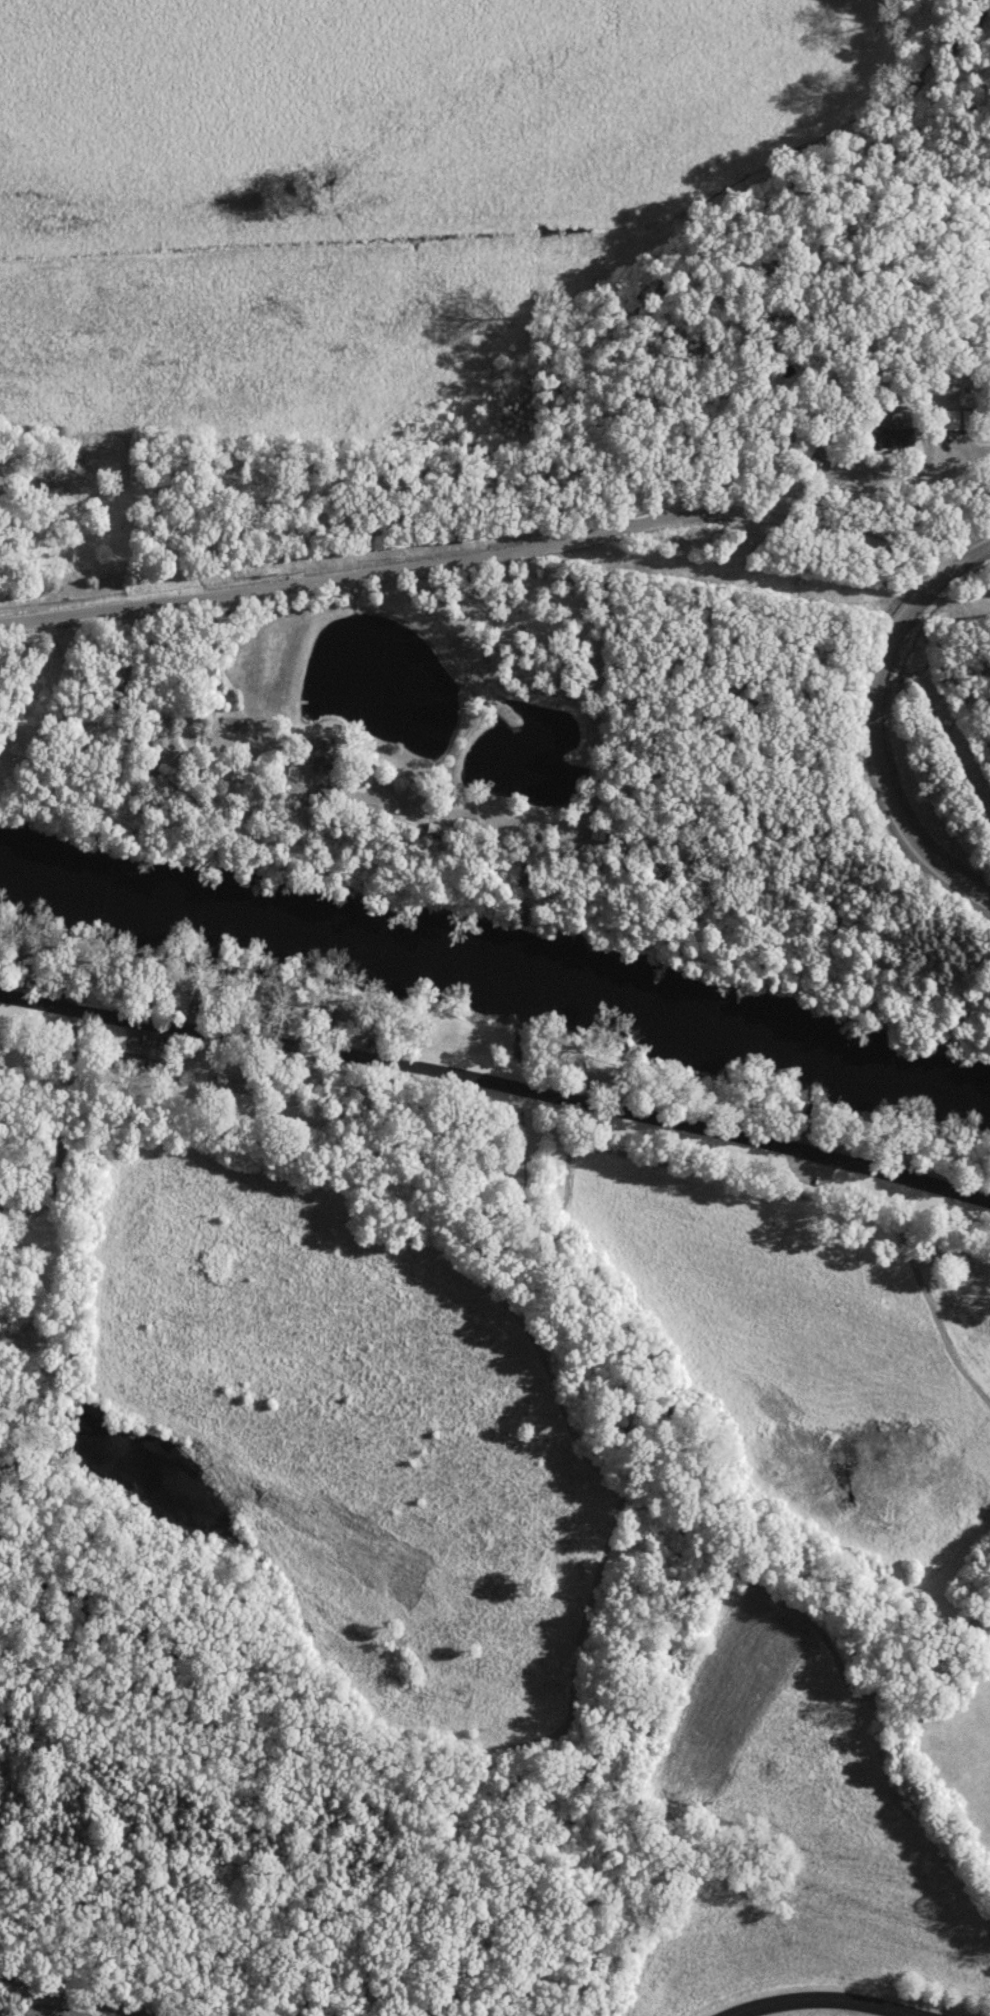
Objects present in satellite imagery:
building: (951, 422)
building: (887, 440)
building: (797, 449)
road: (869, 482)
road: (834, 526)
road: (519, 550)
road: (884, 741)
building: (315, 762)
road: (614, 808)
building: (590, 834)
road: (498, 1084)
road: (68, 1997)
road: (827, 2000)

